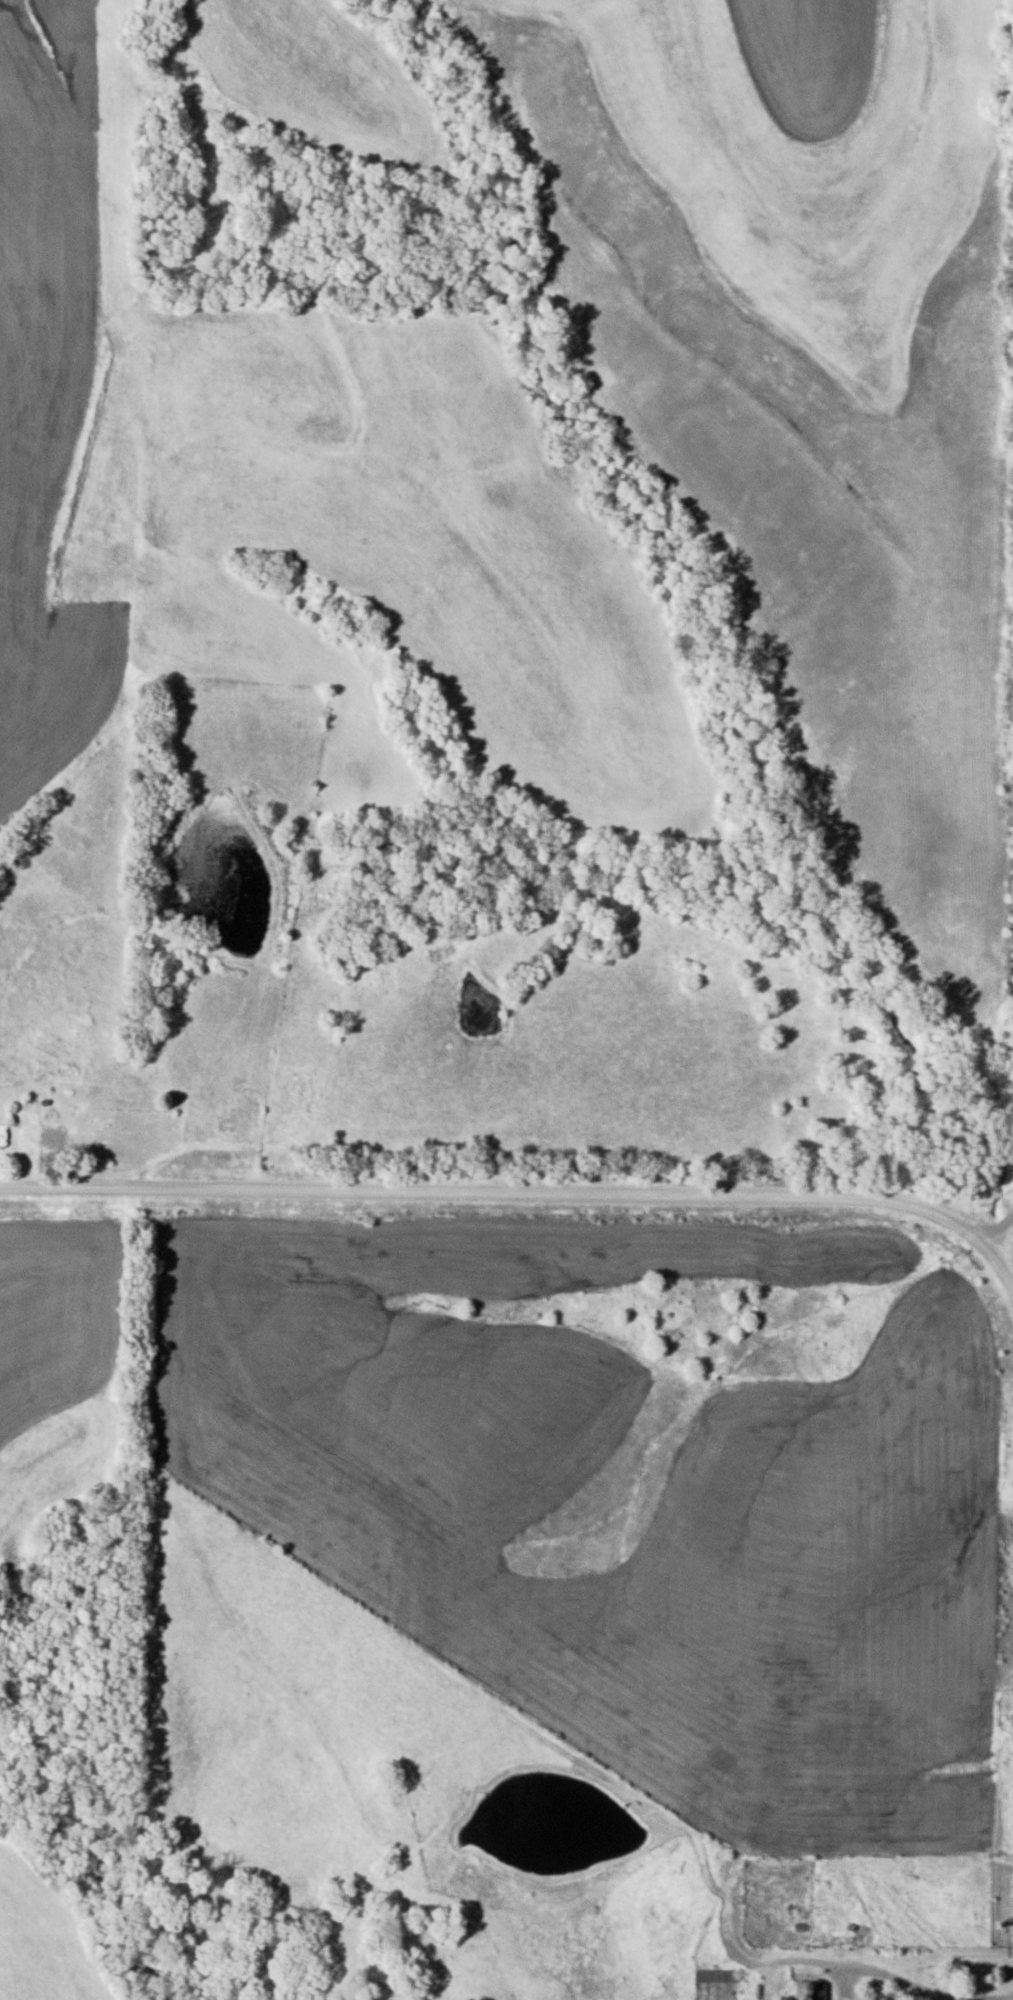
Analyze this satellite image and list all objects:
building: (32, 1135)
road: (522, 1190)
road: (924, 1983)

